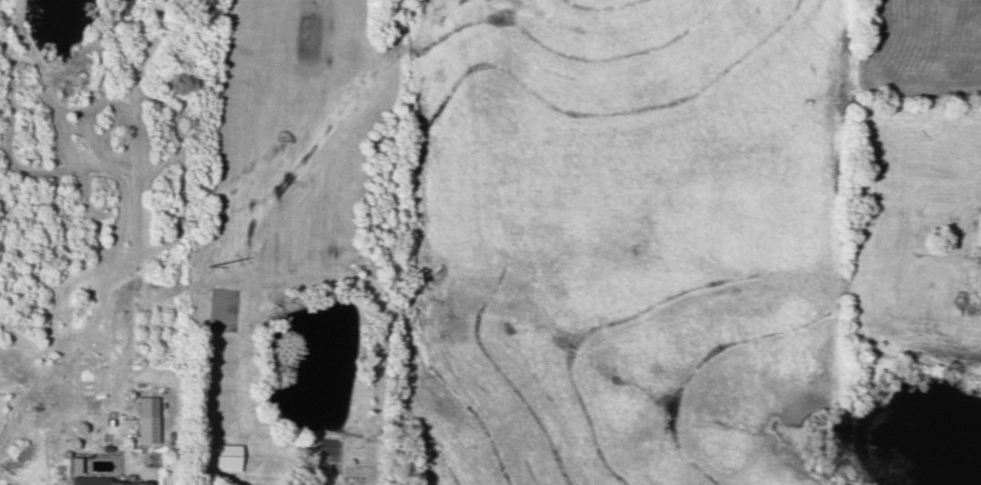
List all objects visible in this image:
building: (980, 233)
power tower: (204, 267)
building: (143, 419)
building: (226, 457)
building: (73, 464)
building: (99, 481)

